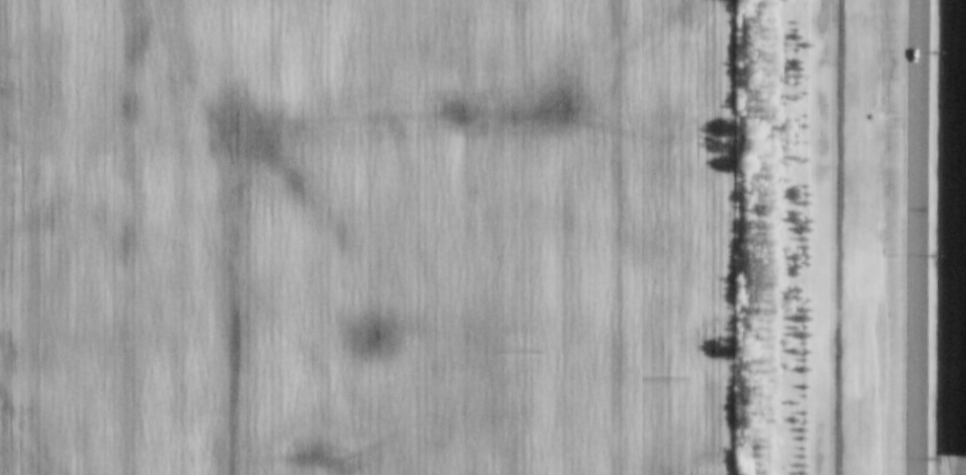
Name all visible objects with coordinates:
road: (916, 237)

